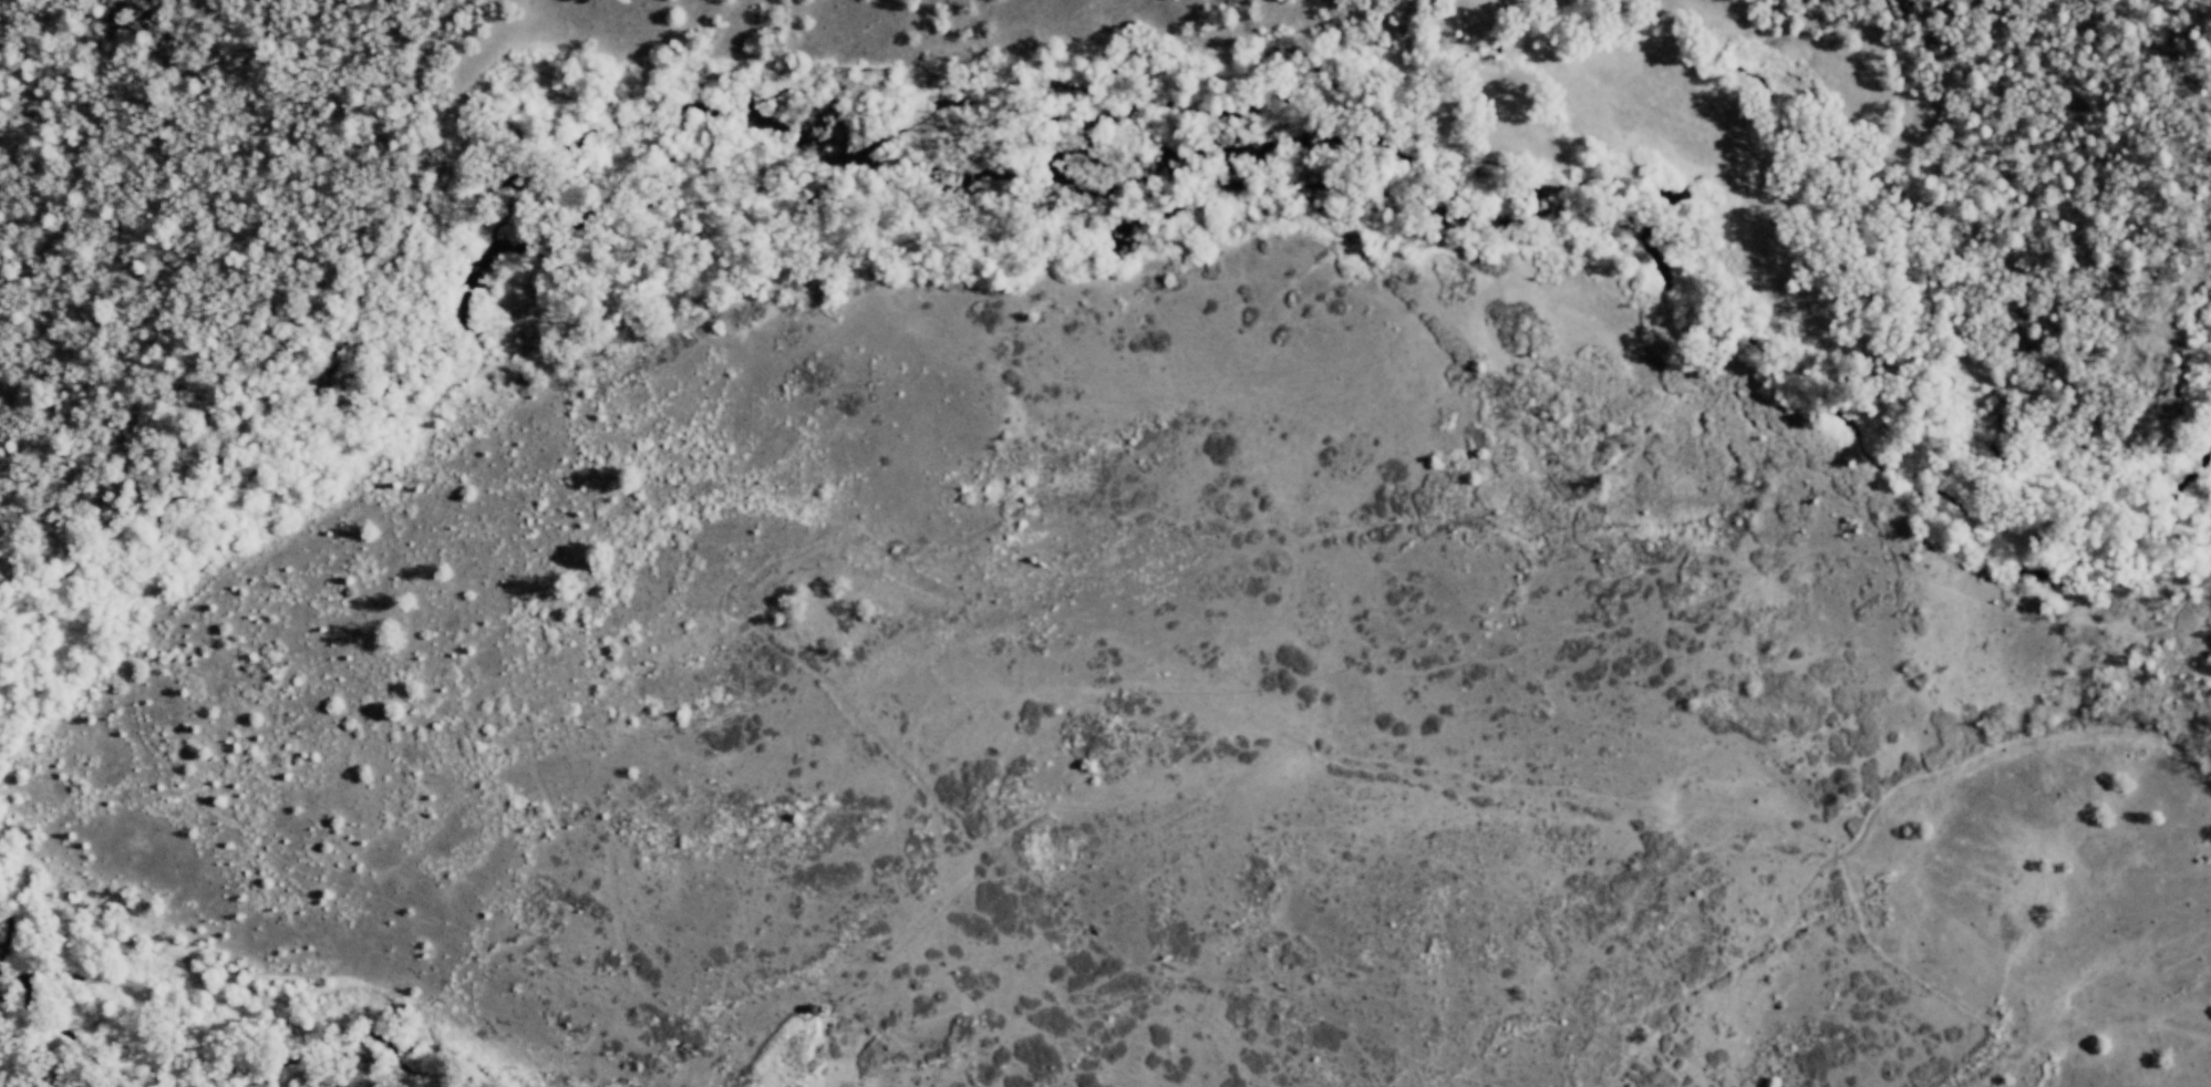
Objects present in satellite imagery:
road: (2086, 1023)
road: (2067, 1055)

